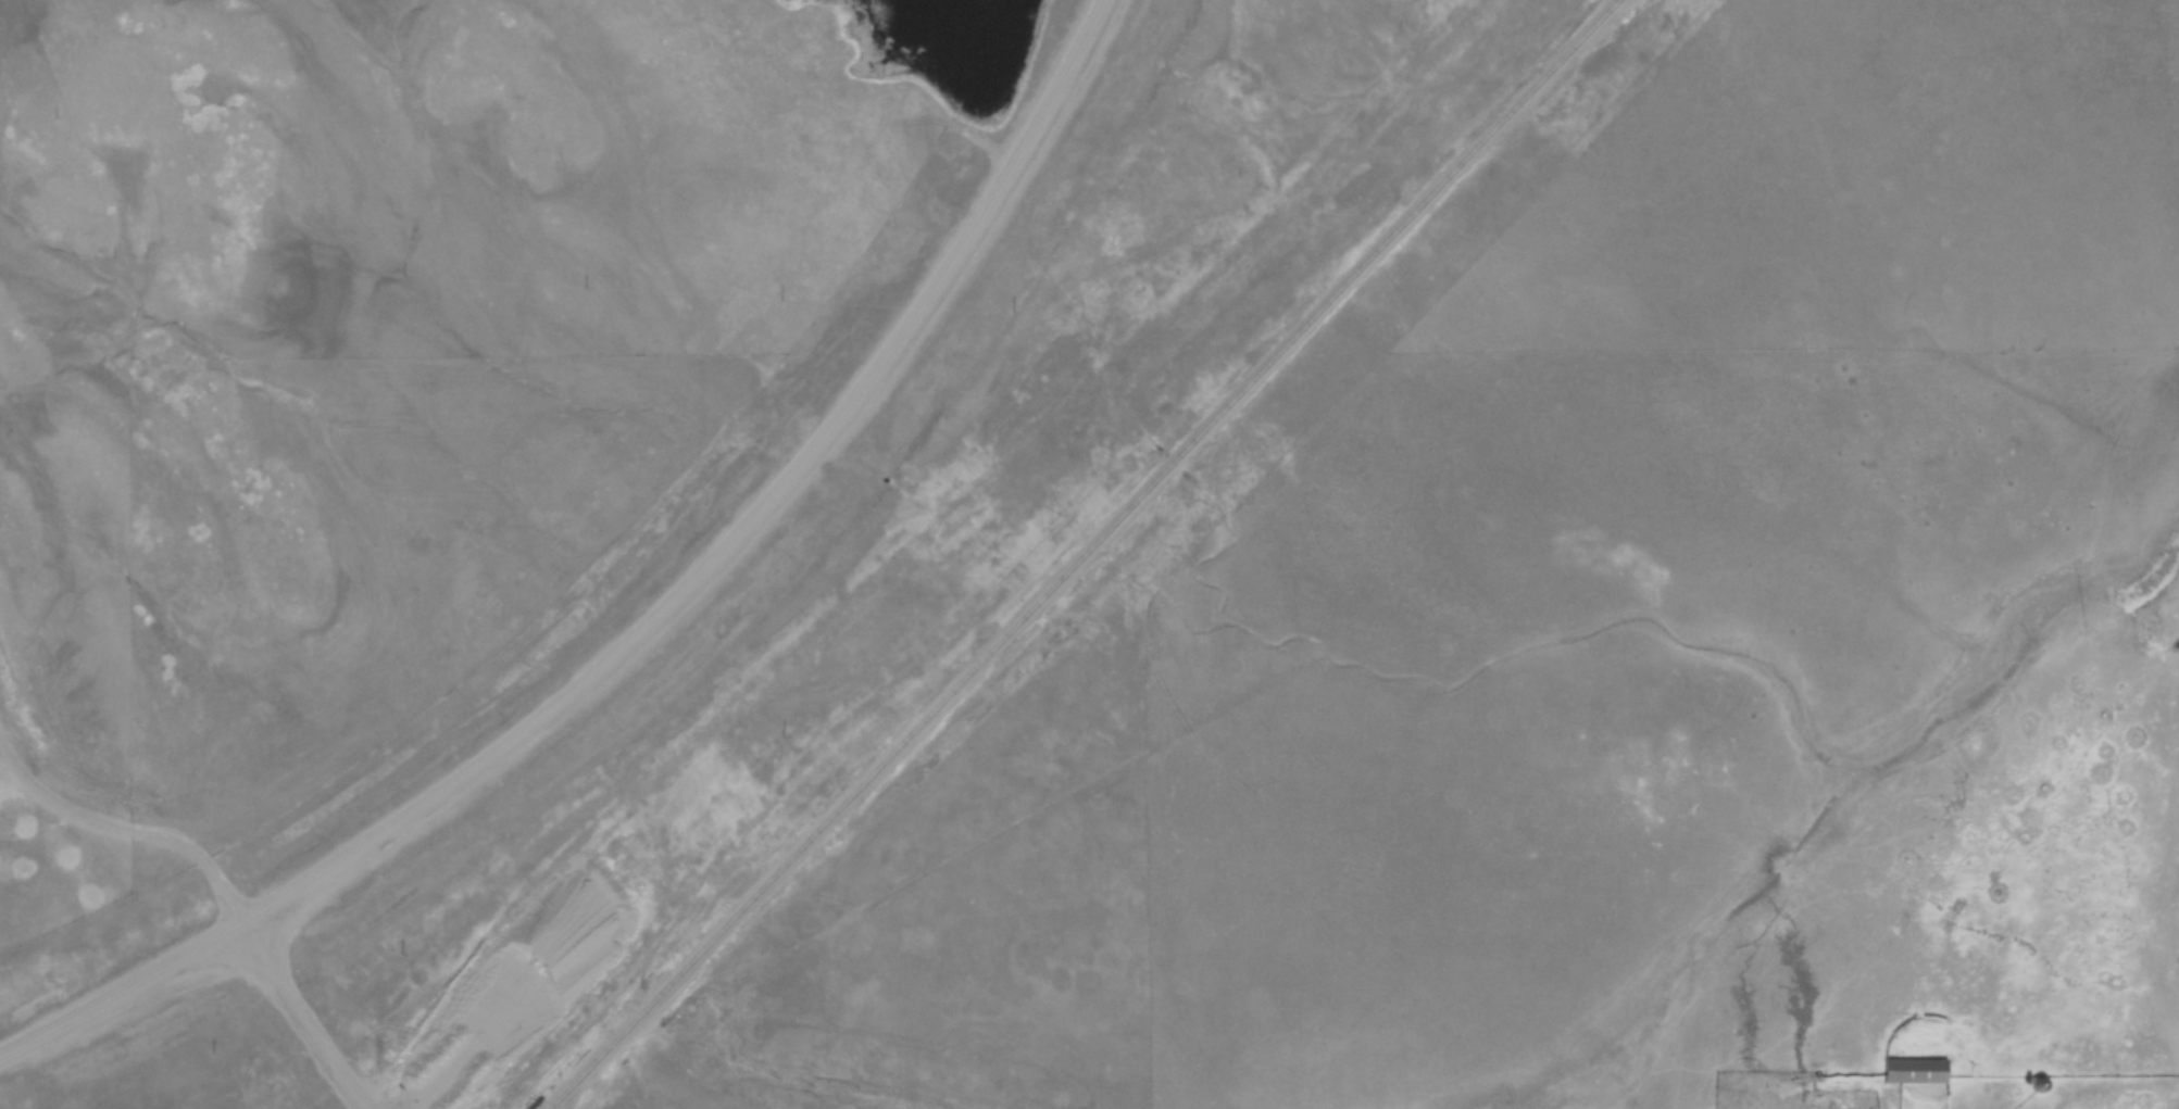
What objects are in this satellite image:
railway: (1079, 555)
road: (643, 626)
road: (301, 1018)
building: (1912, 1070)

